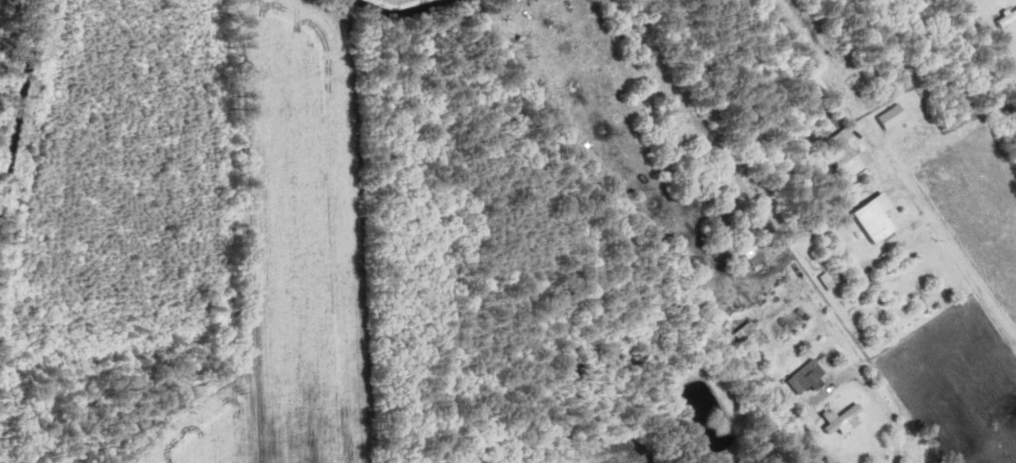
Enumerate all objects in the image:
building: (1005, 18)
building: (867, 218)
building: (751, 260)
building: (743, 337)
building: (801, 379)
building: (802, 420)
building: (838, 420)

